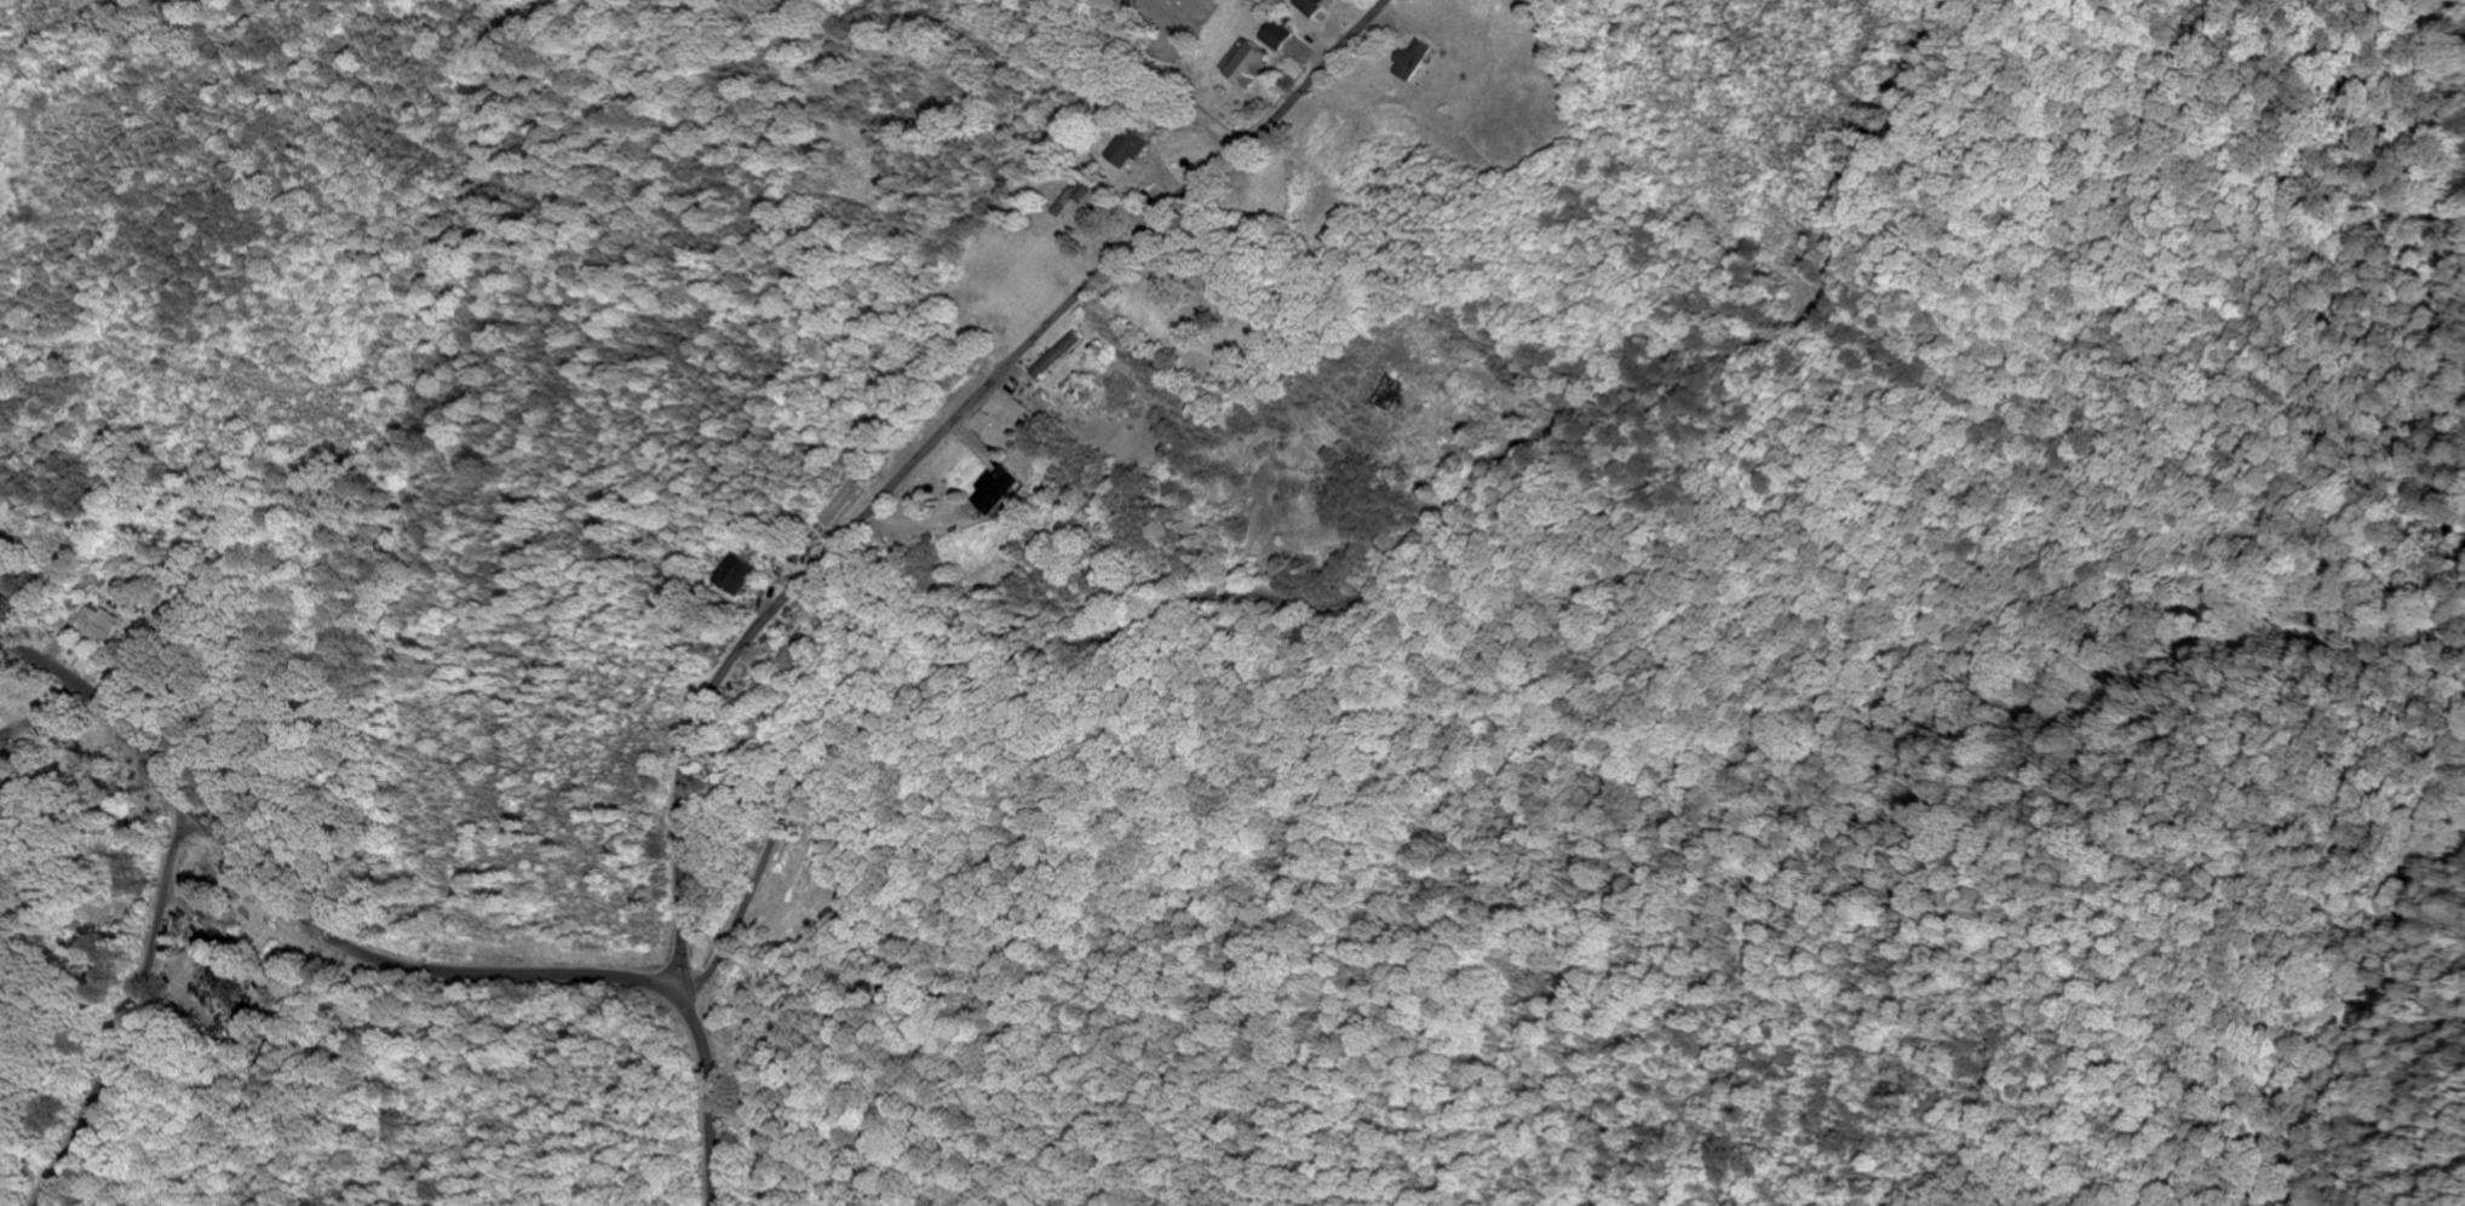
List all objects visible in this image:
building: (1279, 36)
building: (1310, 36)
building: (1412, 61)
building: (1246, 64)
building: (1131, 150)
building: (1071, 202)
building: (1057, 357)
building: (1000, 490)
building: (740, 576)
building: (99, 625)
road: (789, 806)
road: (387, 960)
road: (133, 1011)

